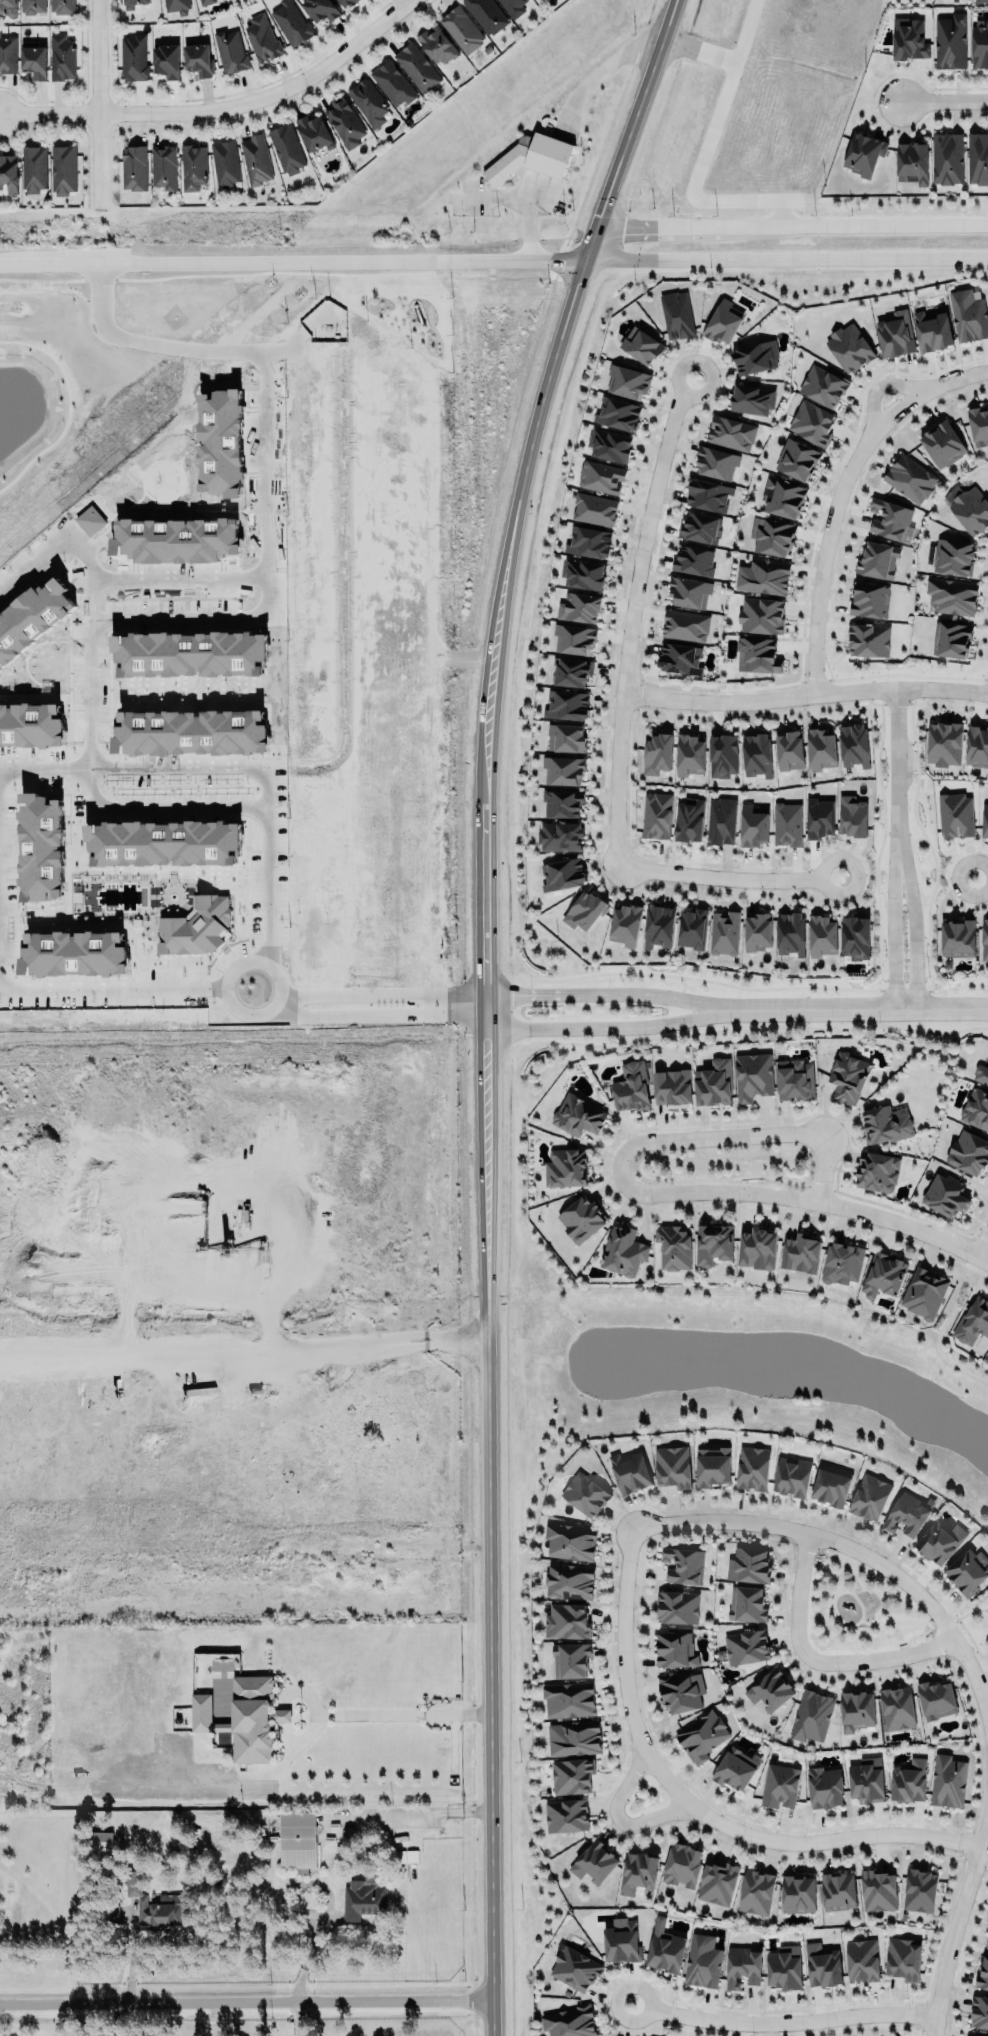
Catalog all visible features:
parking lot: (874, 1)
building: (981, 1)
building: (205, 2)
building: (134, 3)
building: (347, 3)
building: (174, 5)
building: (31, 6)
building: (61, 6)
building: (8, 7)
building: (513, 7)
building: (319, 10)
building: (487, 14)
building: (291, 23)
building: (462, 27)
building: (262, 39)
building: (908, 39)
building: (950, 40)
building: (979, 42)
building: (437, 44)
building: (230, 51)
building: (7, 54)
building: (61, 56)
building: (134, 58)
building: (33, 59)
building: (197, 59)
building: (166, 62)
road: (730, 62)
building: (417, 65)
road: (596, 77)
building: (393, 81)
road: (941, 96)
building: (368, 100)
road: (94, 103)
road: (223, 109)
building: (344, 121)
building: (314, 133)
building: (287, 147)
building: (864, 152)
building: (978, 156)
building: (256, 158)
building: (946, 158)
building: (530, 160)
building: (225, 161)
building: (912, 162)
building: (163, 165)
building: (192, 167)
building: (63, 168)
building: (133, 168)
building: (33, 169)
building: (9, 171)
road: (685, 186)
parking lot: (505, 197)
traffic signals: (604, 214)
road: (855, 226)
road: (661, 227)
traffic signals: (623, 228)
road: (787, 260)
traffic signals: (560, 262)
road: (293, 264)
traffic signals: (579, 284)
building: (968, 314)
building: (676, 315)
building: (723, 320)
building: (932, 328)
building: (896, 332)
building: (642, 343)
building: (849, 346)
building: (755, 356)
road: (880, 379)
building: (823, 384)
building: (752, 397)
building: (618, 412)
building: (812, 421)
building: (978, 424)
building: (222, 430)
building: (730, 433)
building: (942, 443)
building: (609, 444)
building: (797, 457)
building: (716, 460)
building: (600, 477)
building: (910, 477)
road: (836, 488)
building: (709, 493)
building: (784, 496)
building: (971, 509)
building: (888, 519)
building: (90, 520)
building: (699, 527)
building: (772, 534)
road: (262, 538)
building: (176, 539)
building: (590, 540)
road: (47, 550)
building: (953, 555)
building: (878, 558)
building: (694, 559)
building: (583, 572)
building: (763, 577)
building: (689, 591)
building: (953, 594)
building: (870, 598)
building: (579, 608)
road: (631, 610)
building: (16, 611)
building: (762, 614)
building: (685, 624)
building: (575, 637)
building: (869, 638)
building: (951, 638)
building: (0, 642)
building: (154, 654)
building: (758, 654)
building: (680, 657)
building: (573, 670)
road: (803, 697)
building: (567, 705)
building: (31, 725)
building: (189, 732)
building: (566, 736)
building: (944, 742)
building: (855, 744)
building: (977, 745)
building: (821, 747)
building: (790, 749)
building: (657, 752)
building: (689, 754)
building: (723, 754)
building: (756, 755)
road: (224, 769)
building: (563, 769)
road: (896, 769)
building: (357, 772)
building: (562, 801)
road: (163, 806)
building: (656, 814)
building: (954, 814)
building: (853, 815)
building: (819, 816)
building: (689, 819)
building: (985, 820)
building: (720, 821)
building: (787, 823)
building: (753, 824)
building: (560, 835)
building: (163, 843)
building: (41, 847)
building: (563, 872)
road: (976, 872)
road: (728, 876)
building: (585, 909)
building: (625, 924)
road: (911, 925)
building: (659, 926)
road: (889, 926)
building: (197, 927)
building: (691, 929)
building: (724, 931)
building: (757, 931)
building: (791, 932)
building: (822, 934)
building: (855, 936)
building: (958, 938)
building: (984, 940)
building: (301, 942)
building: (73, 953)
road: (248, 963)
road: (619, 990)
road: (112, 992)
road: (870, 1001)
road: (284, 1003)
road: (486, 1003)
road: (456, 1005)
road: (293, 1006)
road: (620, 1021)
building: (987, 1059)
building: (981, 1073)
building: (753, 1075)
building: (849, 1076)
building: (794, 1079)
building: (714, 1082)
building: (631, 1086)
building: (672, 1088)
building: (976, 1108)
building: (577, 1115)
building: (887, 1124)
road: (635, 1143)
building: (968, 1152)
building: (566, 1167)
building: (877, 1172)
building: (945, 1194)
building: (581, 1219)
road: (904, 1223)
road: (982, 1243)
building: (713, 1244)
building: (674, 1247)
building: (758, 1248)
building: (623, 1250)
building: (801, 1253)
building: (842, 1263)
building: (884, 1274)
building: (924, 1293)
building: (974, 1321)
quarry: (232, 1326)
road: (940, 1328)
road: (245, 1355)
building: (987, 1356)
building: (712, 1466)
building: (672, 1467)
building: (754, 1467)
building: (630, 1471)
building: (792, 1476)
building: (831, 1485)
building: (585, 1493)
building: (870, 1497)
building: (906, 1512)
building: (570, 1541)
building: (939, 1542)
road: (839, 1558)
building: (683, 1564)
building: (748, 1565)
building: (967, 1571)
building: (569, 1580)
road: (796, 1593)
road: (856, 1598)
building: (746, 1602)
building: (678, 1606)
park: (858, 1608)
road: (959, 1616)
road: (905, 1619)
building: (566, 1621)
road: (912, 1635)
building: (747, 1646)
building: (675, 1650)
road: (881, 1653)
road: (968, 1656)
building: (570, 1659)
road: (617, 1664)
building: (770, 1689)
building: (680, 1690)
building: (935, 1698)
building: (568, 1699)
building: (897, 1708)
building: (858, 1710)
road: (396, 1713)
building: (810, 1714)
building: (280, 1715)
building: (237, 1721)
building: (702, 1736)
building: (574, 1737)
building: (735, 1769)
building: (572, 1775)
building: (867, 1780)
building: (909, 1781)
building: (947, 1781)
building: (779, 1786)
building: (824, 1787)
road: (418, 1810)
road: (617, 1813)
building: (566, 1815)
road: (824, 1836)
building: (297, 1840)
building: (594, 1862)
building: (682, 1865)
building: (638, 1872)
building: (717, 1883)
building: (919, 1890)
building: (878, 1891)
building: (756, 1892)
building: (835, 1893)
building: (798, 1894)
building: (362, 1897)
building: (151, 1903)
building: (987, 1942)
building: (622, 1943)
building: (665, 1951)
building: (903, 1959)
building: (701, 1960)
building: (862, 1960)
building: (821, 1964)
building: (743, 1966)
building: (575, 1968)
building: (785, 1968)
building: (982, 1974)
road: (246, 1993)
building: (979, 2012)
road: (118, 2015)
road: (773, 2017)
building: (570, 2021)

